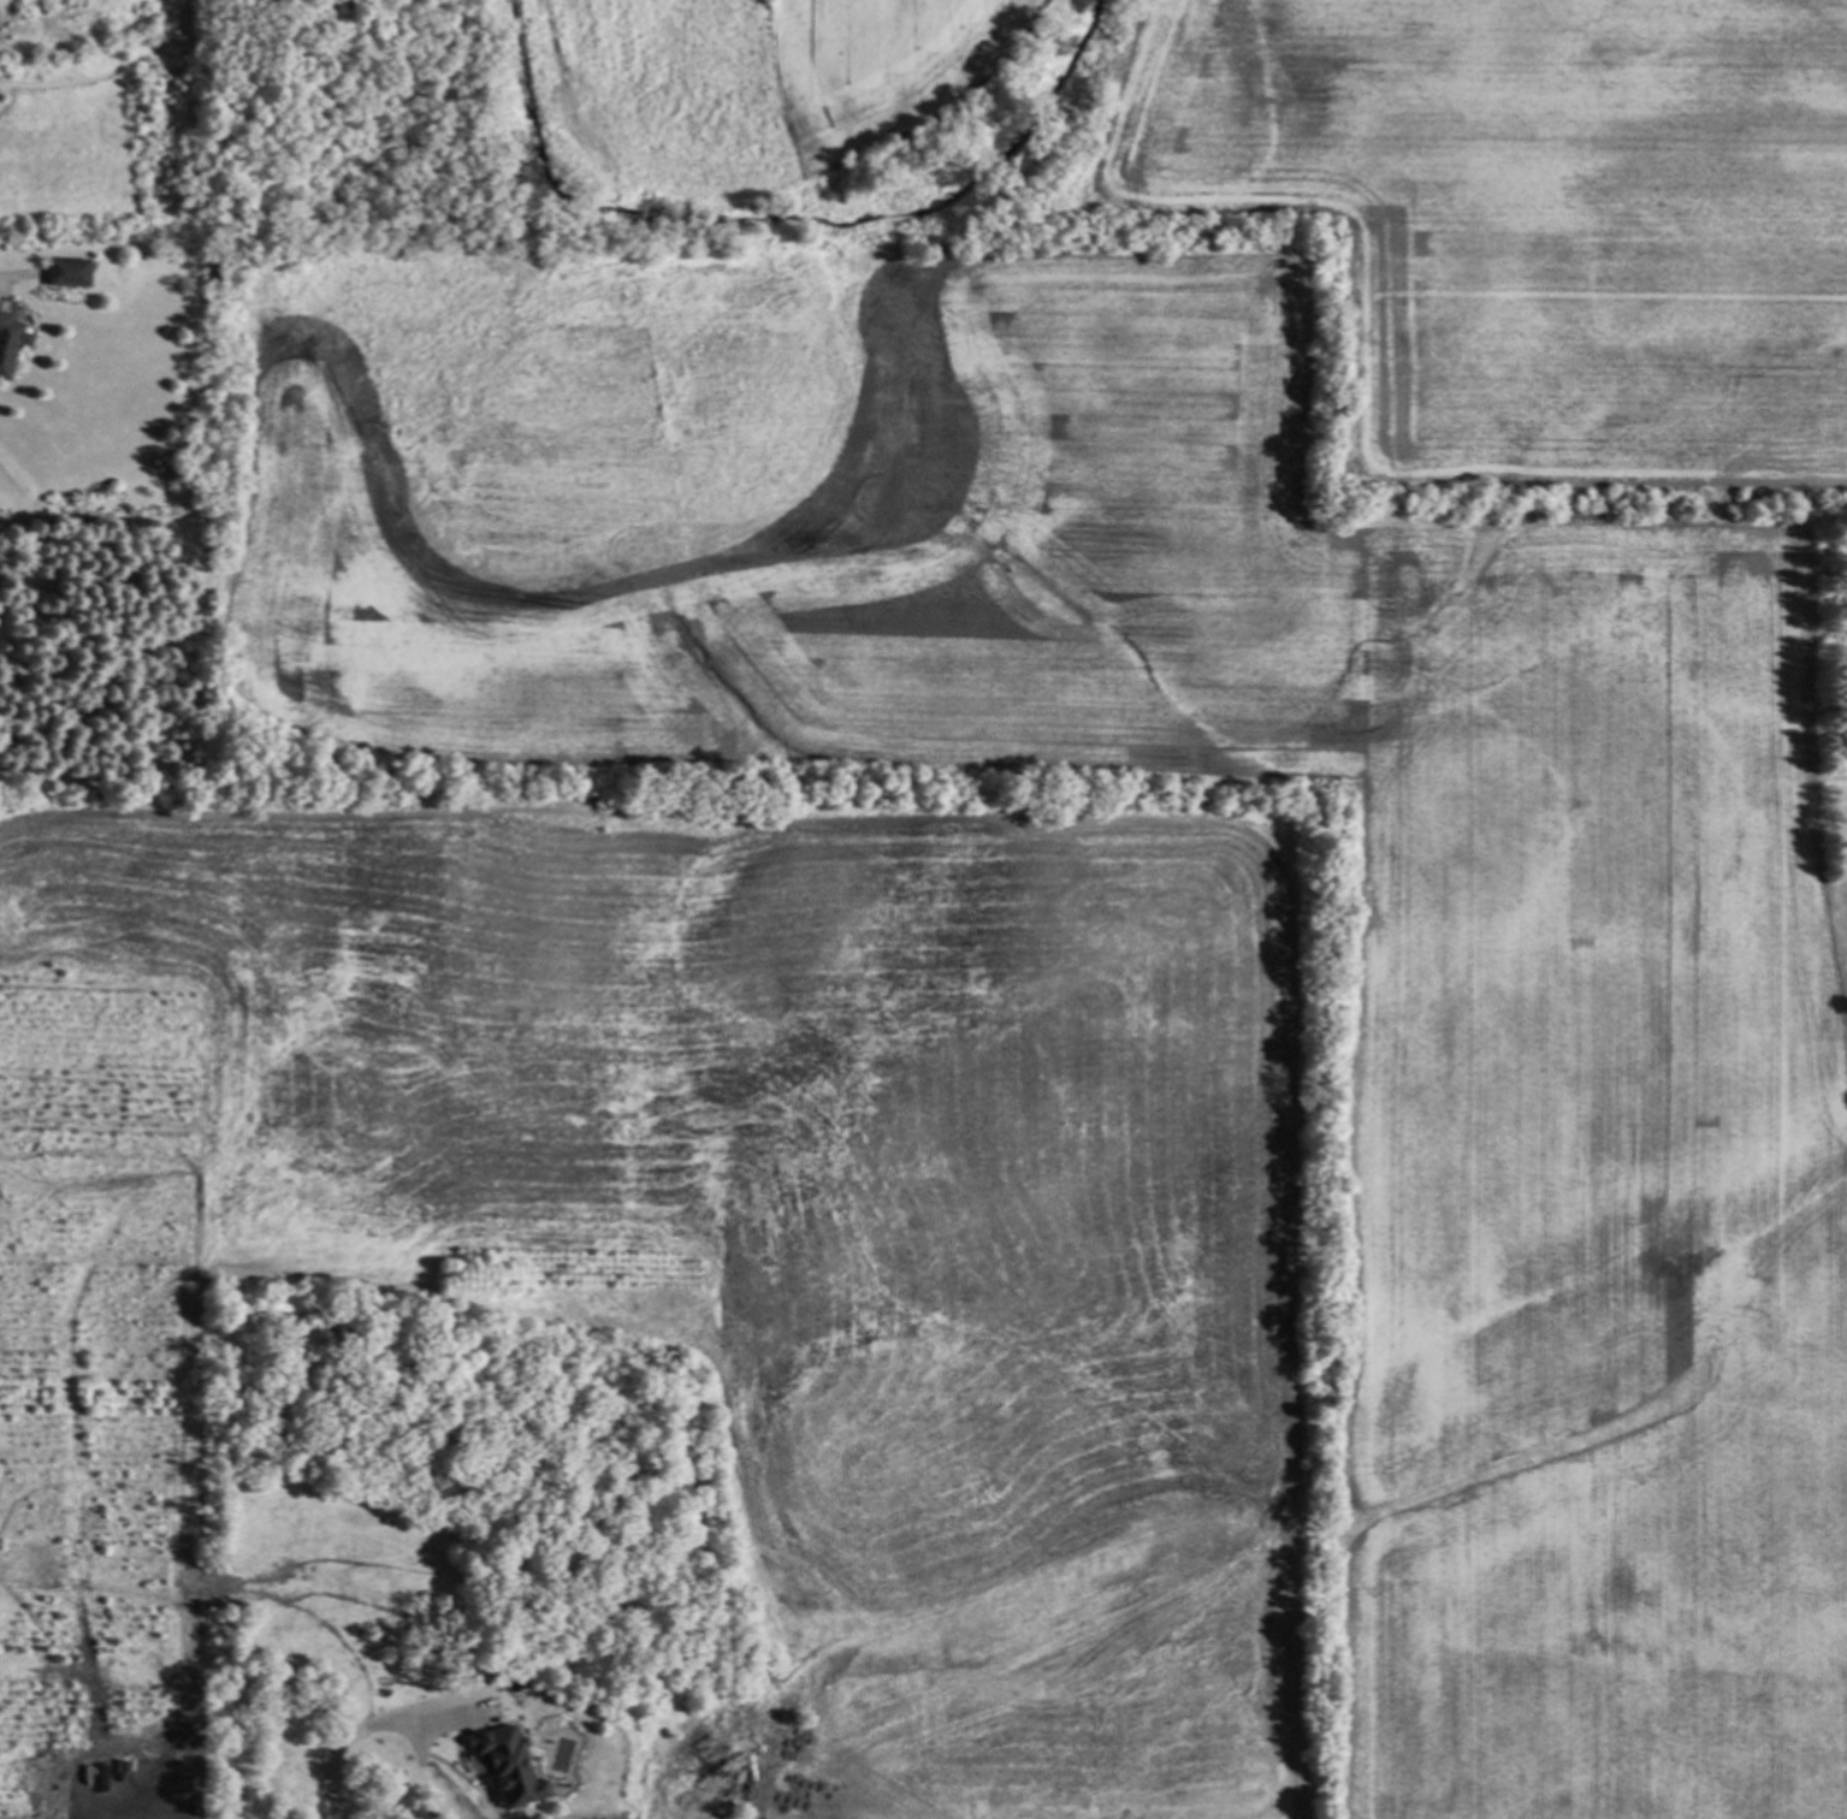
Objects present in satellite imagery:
building: (64, 273)
building: (10, 340)
road: (336, 1755)
building: (502, 1766)

